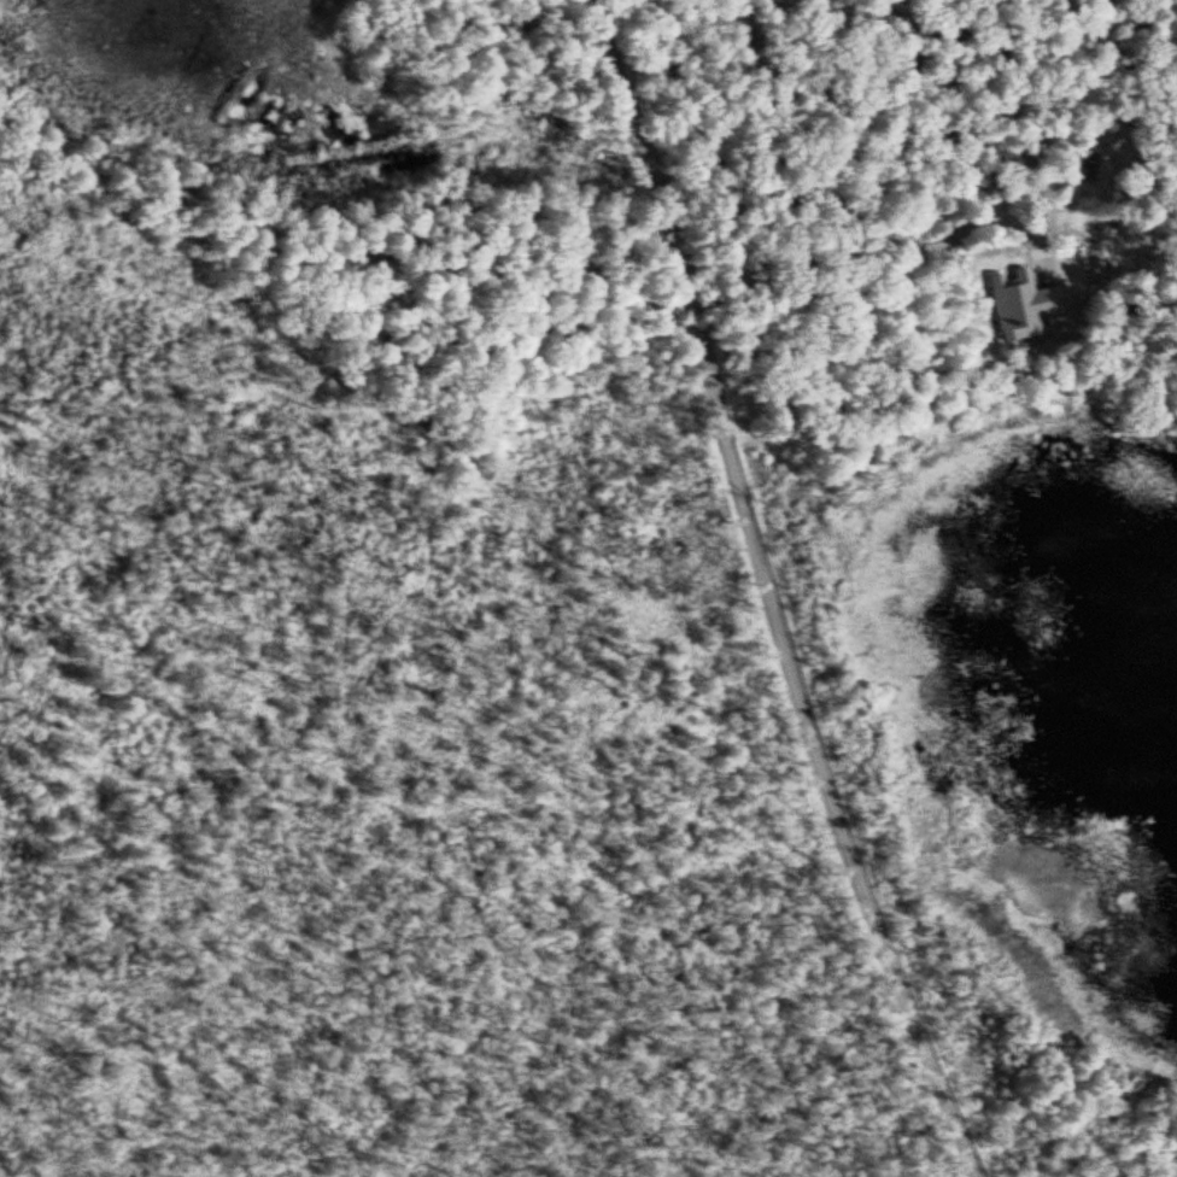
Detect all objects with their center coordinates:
road: (914, 130)
road: (1047, 152)
building: (1019, 309)
road: (769, 590)

